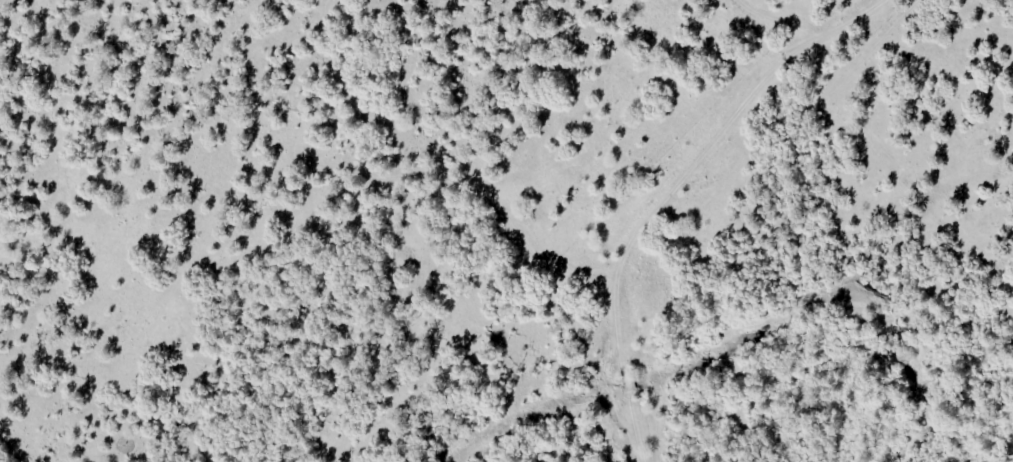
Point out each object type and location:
road: (725, 198)

